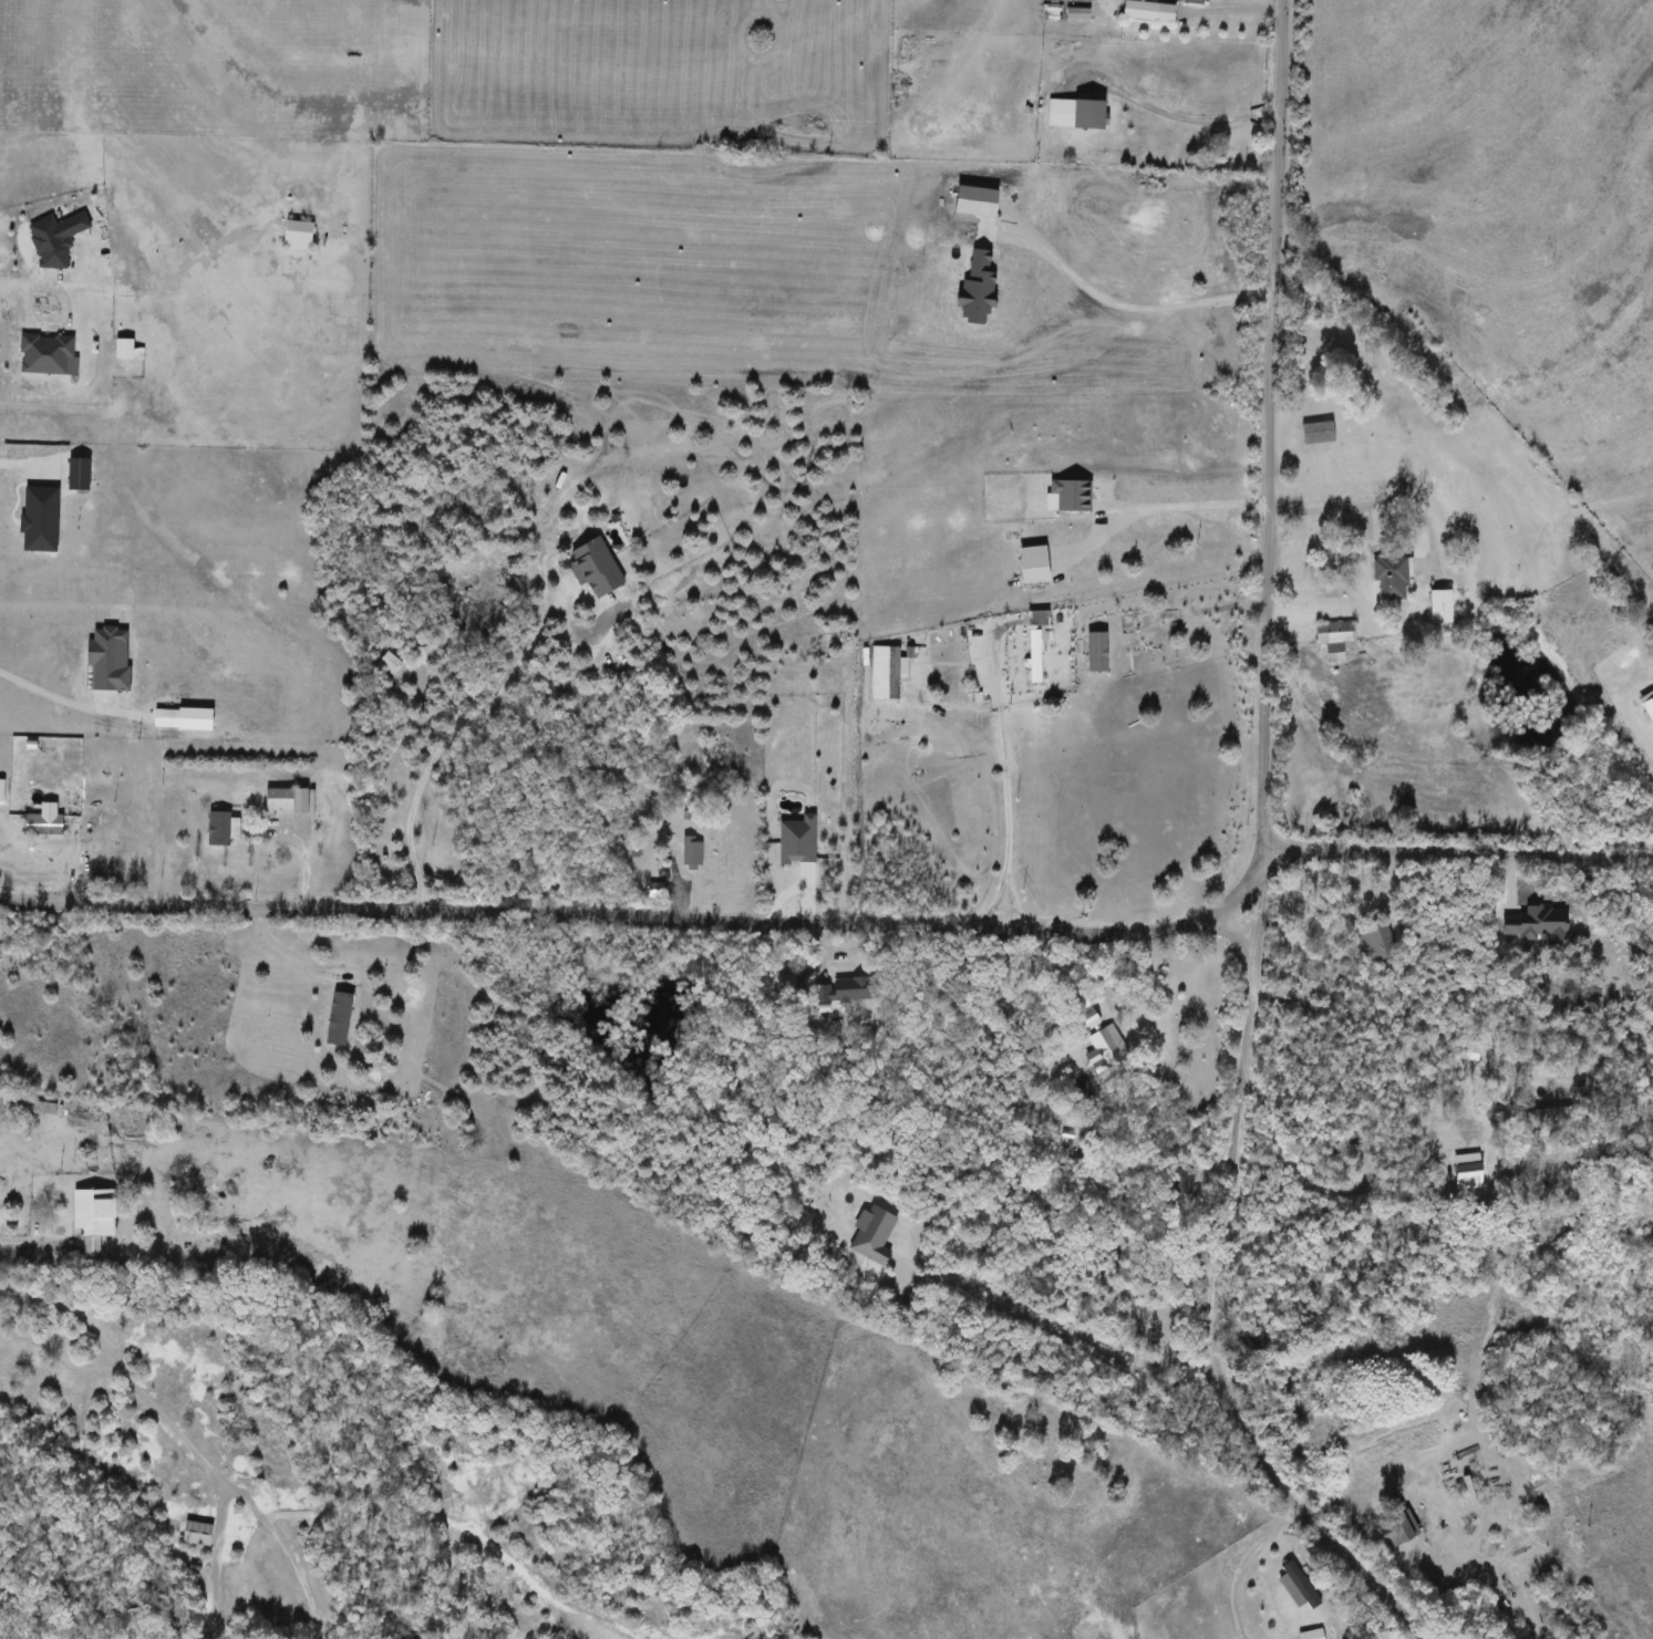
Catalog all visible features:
building: (1198, 2)
building: (1153, 13)
building: (1095, 116)
road: (1180, 117)
building: (301, 236)
building: (58, 238)
road: (27, 283)
road: (1123, 304)
building: (130, 351)
building: (50, 355)
building: (1320, 434)
road: (27, 463)
road: (1375, 501)
road: (1188, 502)
building: (1394, 579)
building: (1445, 608)
building: (1337, 634)
building: (1040, 643)
road: (50, 693)
road: (443, 734)
road: (1004, 781)
building: (289, 800)
building: (43, 826)
building: (221, 830)
building: (693, 853)
road: (1260, 859)
road: (841, 924)
building: (1380, 944)
road: (288, 951)
building: (846, 992)
building: (1093, 1019)
building: (342, 1020)
building: (1107, 1048)
building: (47, 1109)
road: (1287, 1153)
building: (1470, 1176)
building: (97, 1220)
building: (875, 1235)
road: (23, 1242)
road: (1051, 1324)
road: (122, 1362)
building: (1402, 1531)
building: (200, 1534)
road: (283, 1548)
road: (214, 1559)
road: (1239, 1563)
building: (1302, 1586)
building: (1315, 1635)

